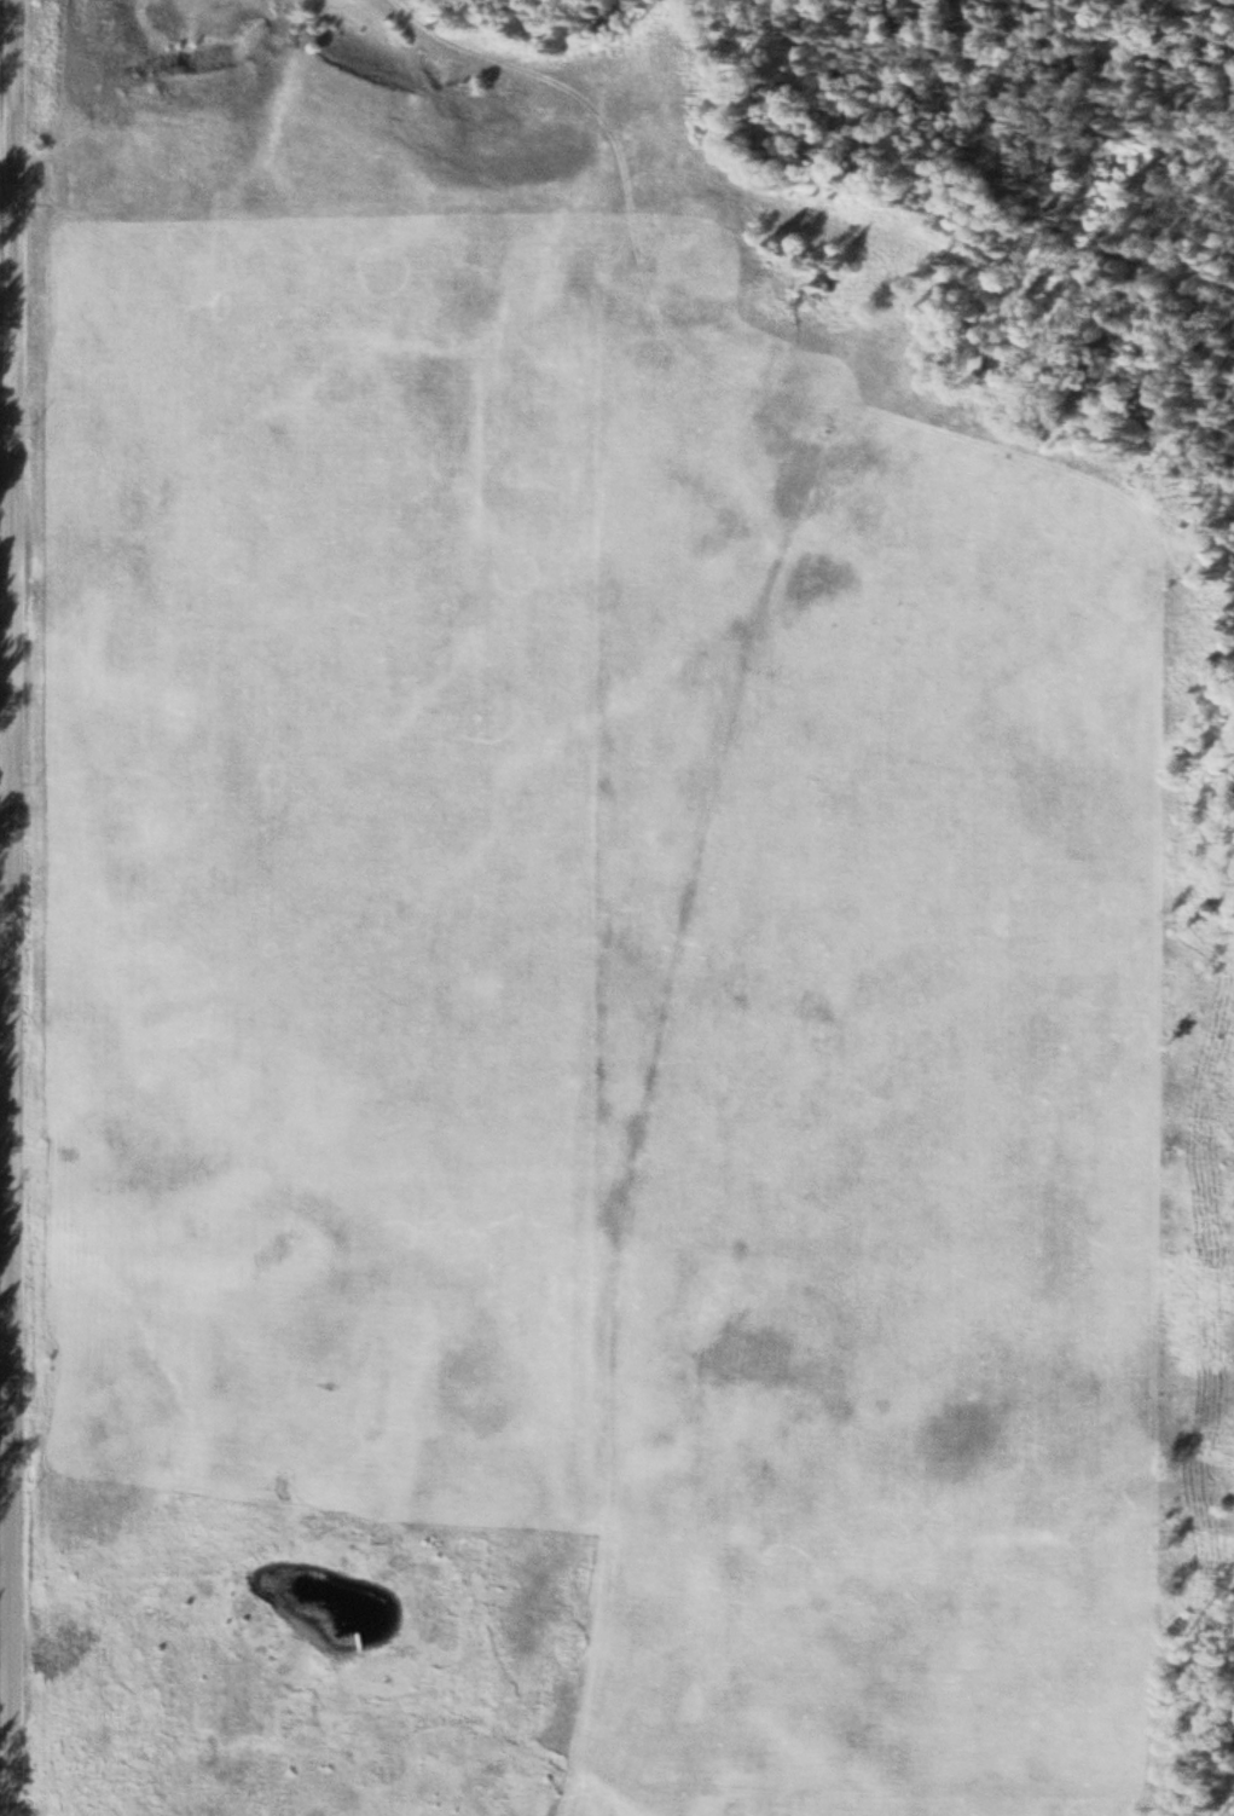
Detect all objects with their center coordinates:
road: (7, 907)

